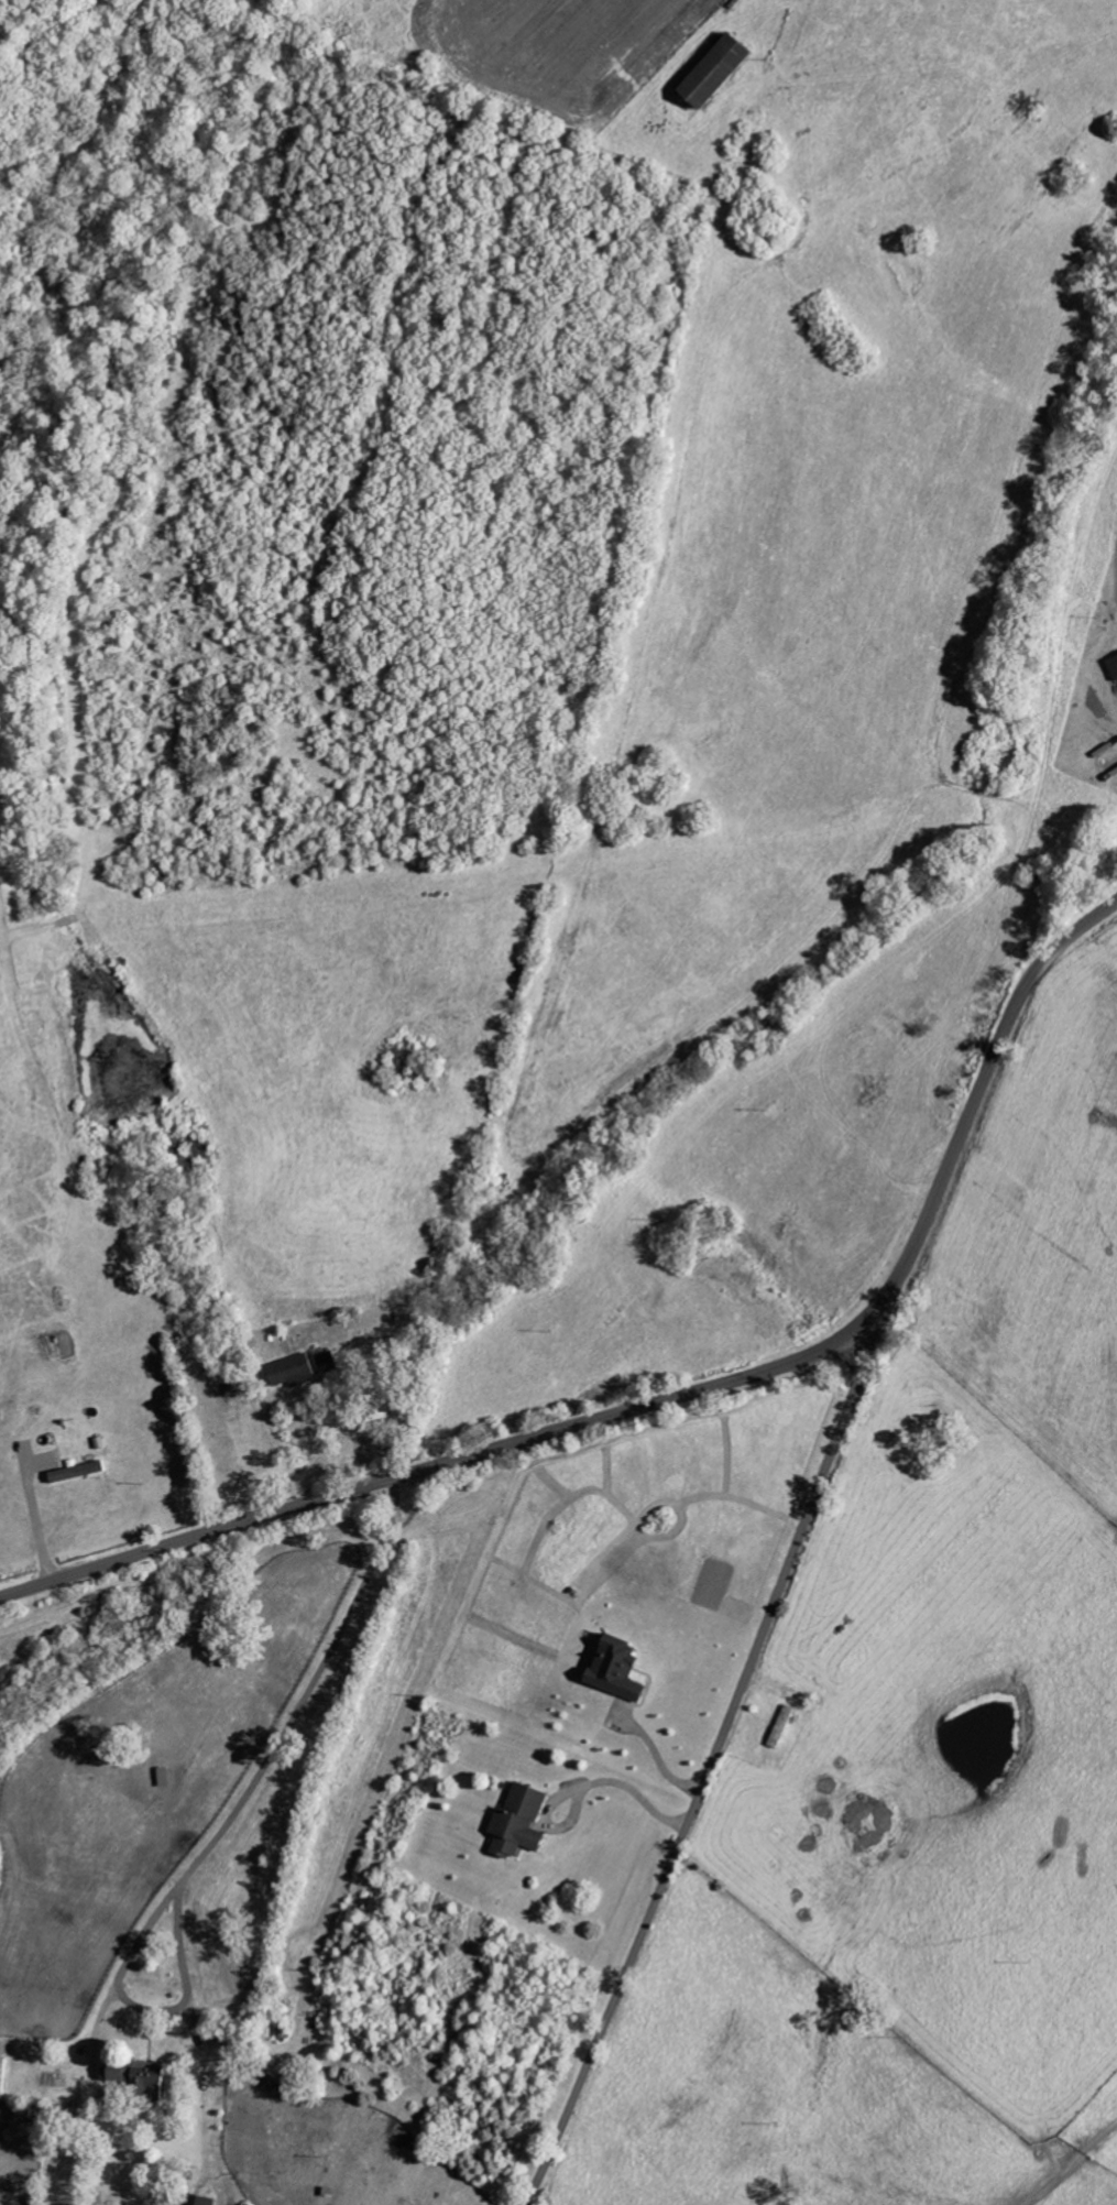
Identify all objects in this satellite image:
building: (725, 70)
building: (1116, 662)
building: (330, 1363)
building: (298, 1372)
road: (676, 1400)
road: (352, 1433)
building: (80, 1473)
road: (36, 1521)
building: (623, 1669)
road: (715, 1754)
road: (657, 1759)
building: (166, 1778)
road: (631, 1792)
building: (524, 1823)
road: (223, 1827)
building: (121, 2073)
building: (3, 2080)
building: (154, 2082)
building: (207, 2201)

